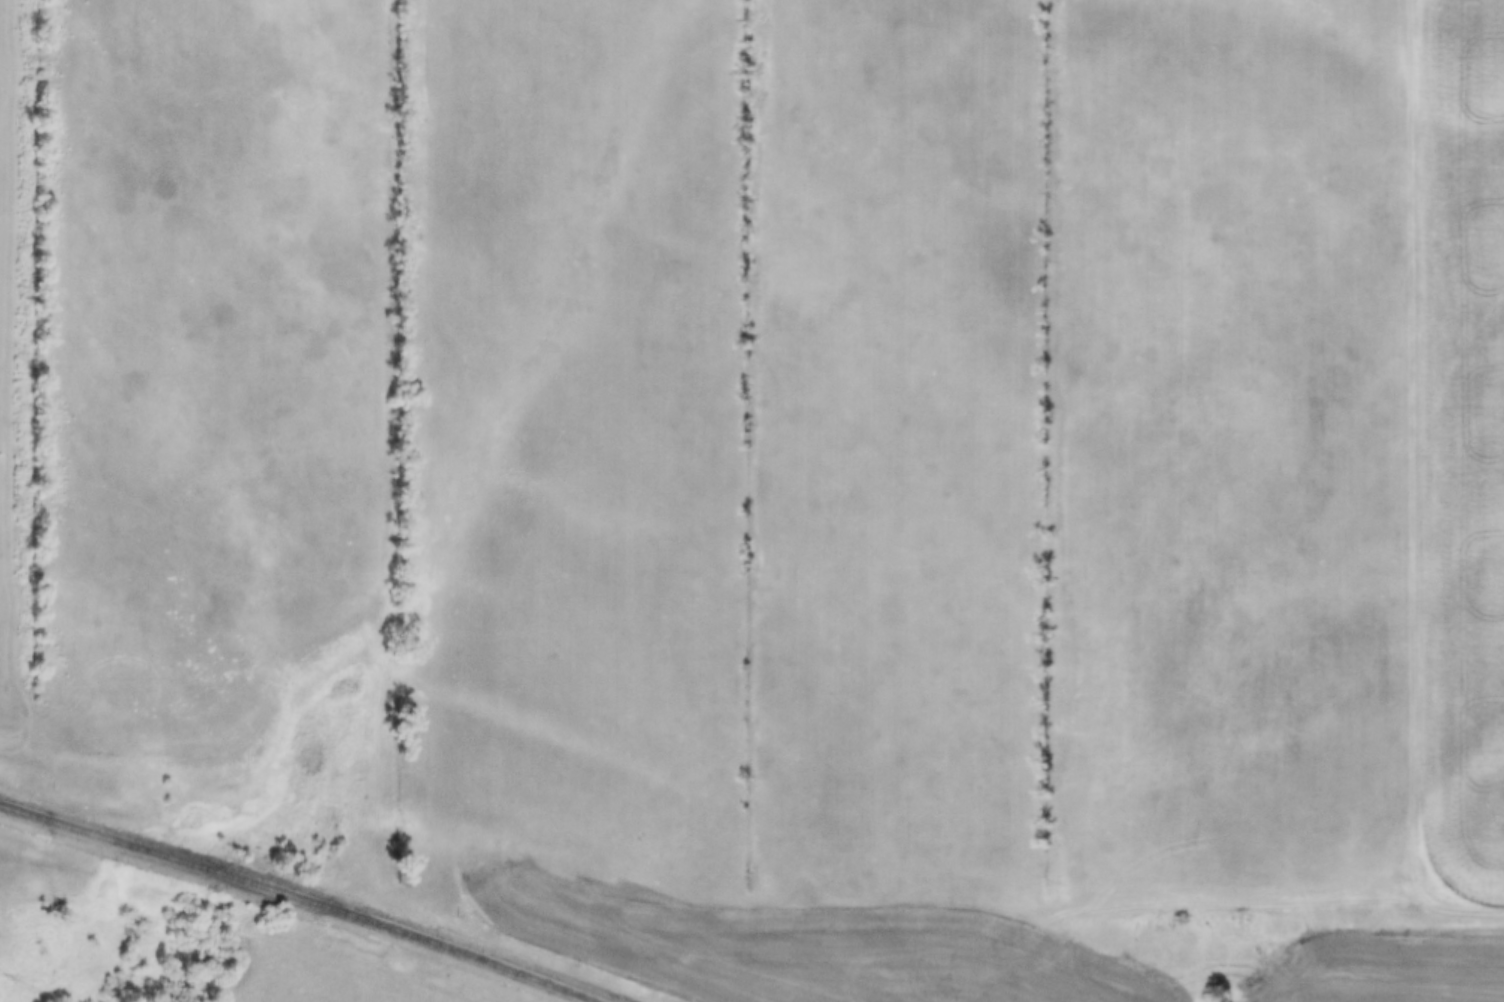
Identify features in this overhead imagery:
road: (1400, 447)
road: (1138, 892)
road: (1426, 899)
railway: (299, 905)

